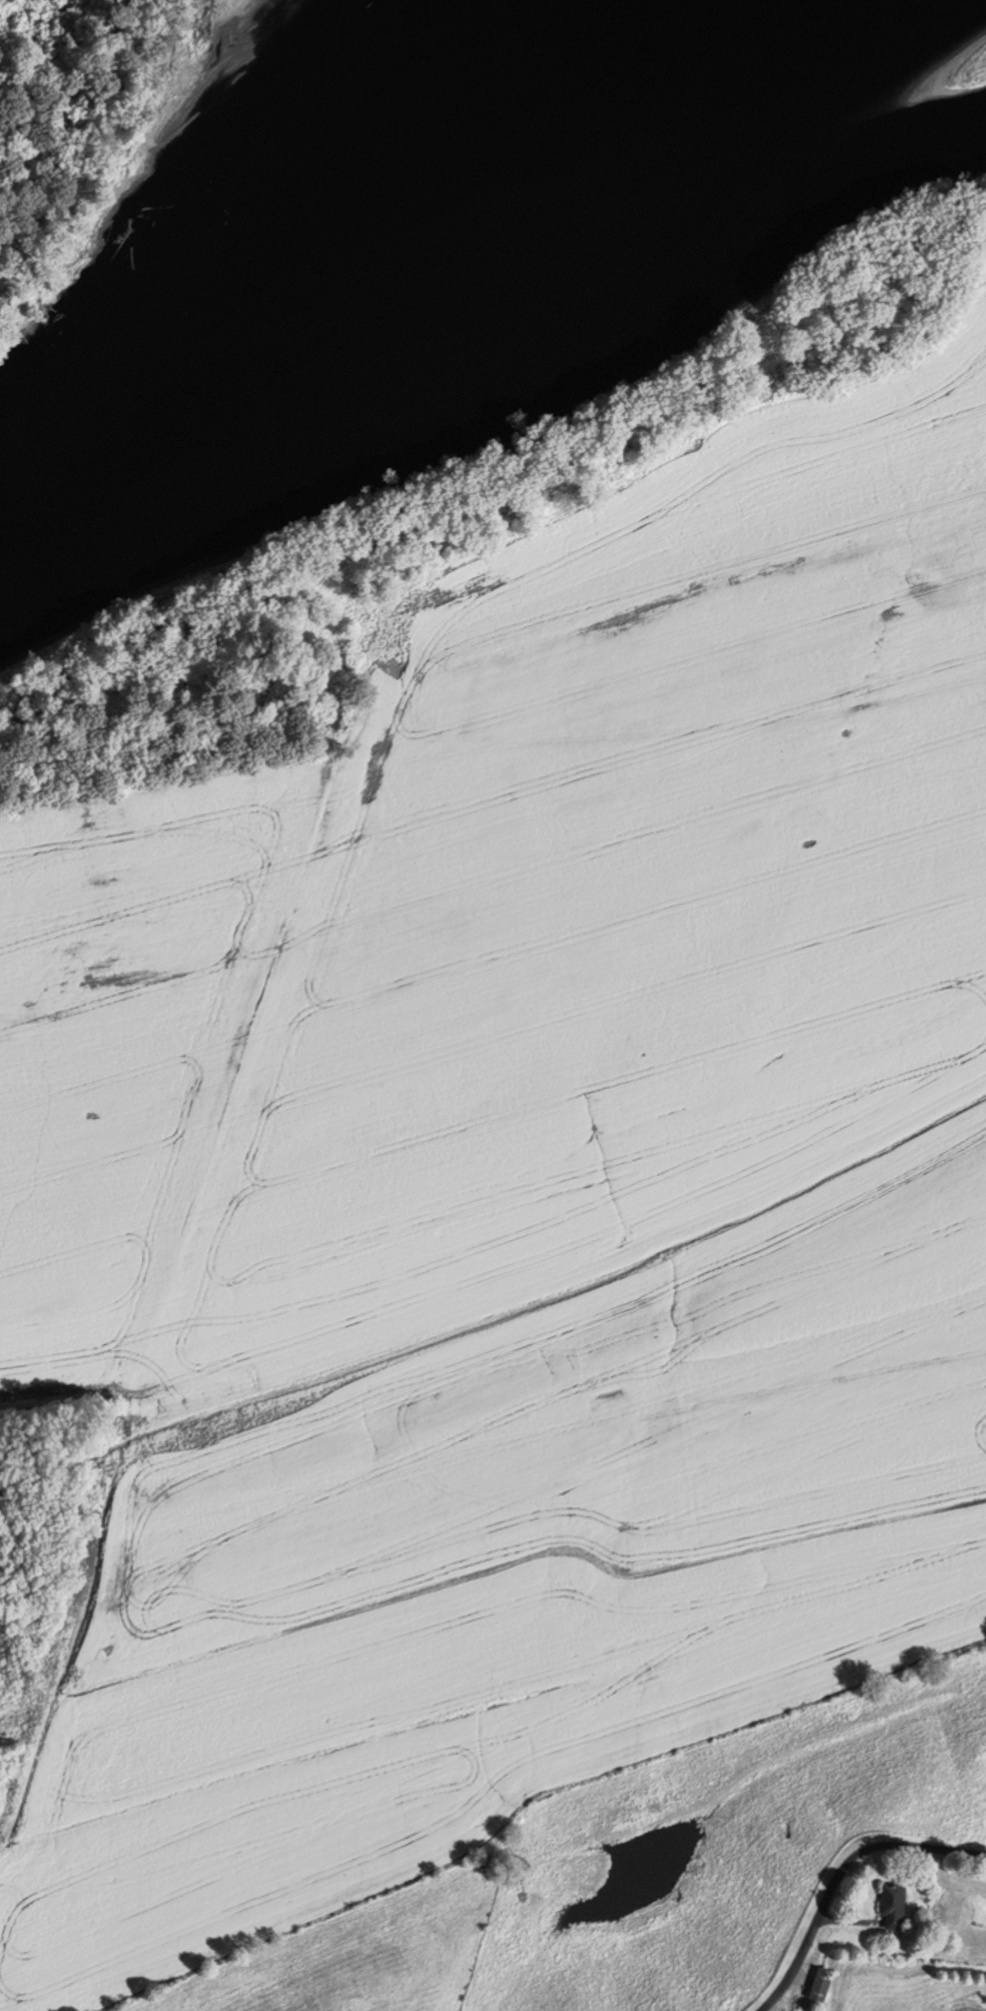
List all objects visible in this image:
road: (843, 1877)

